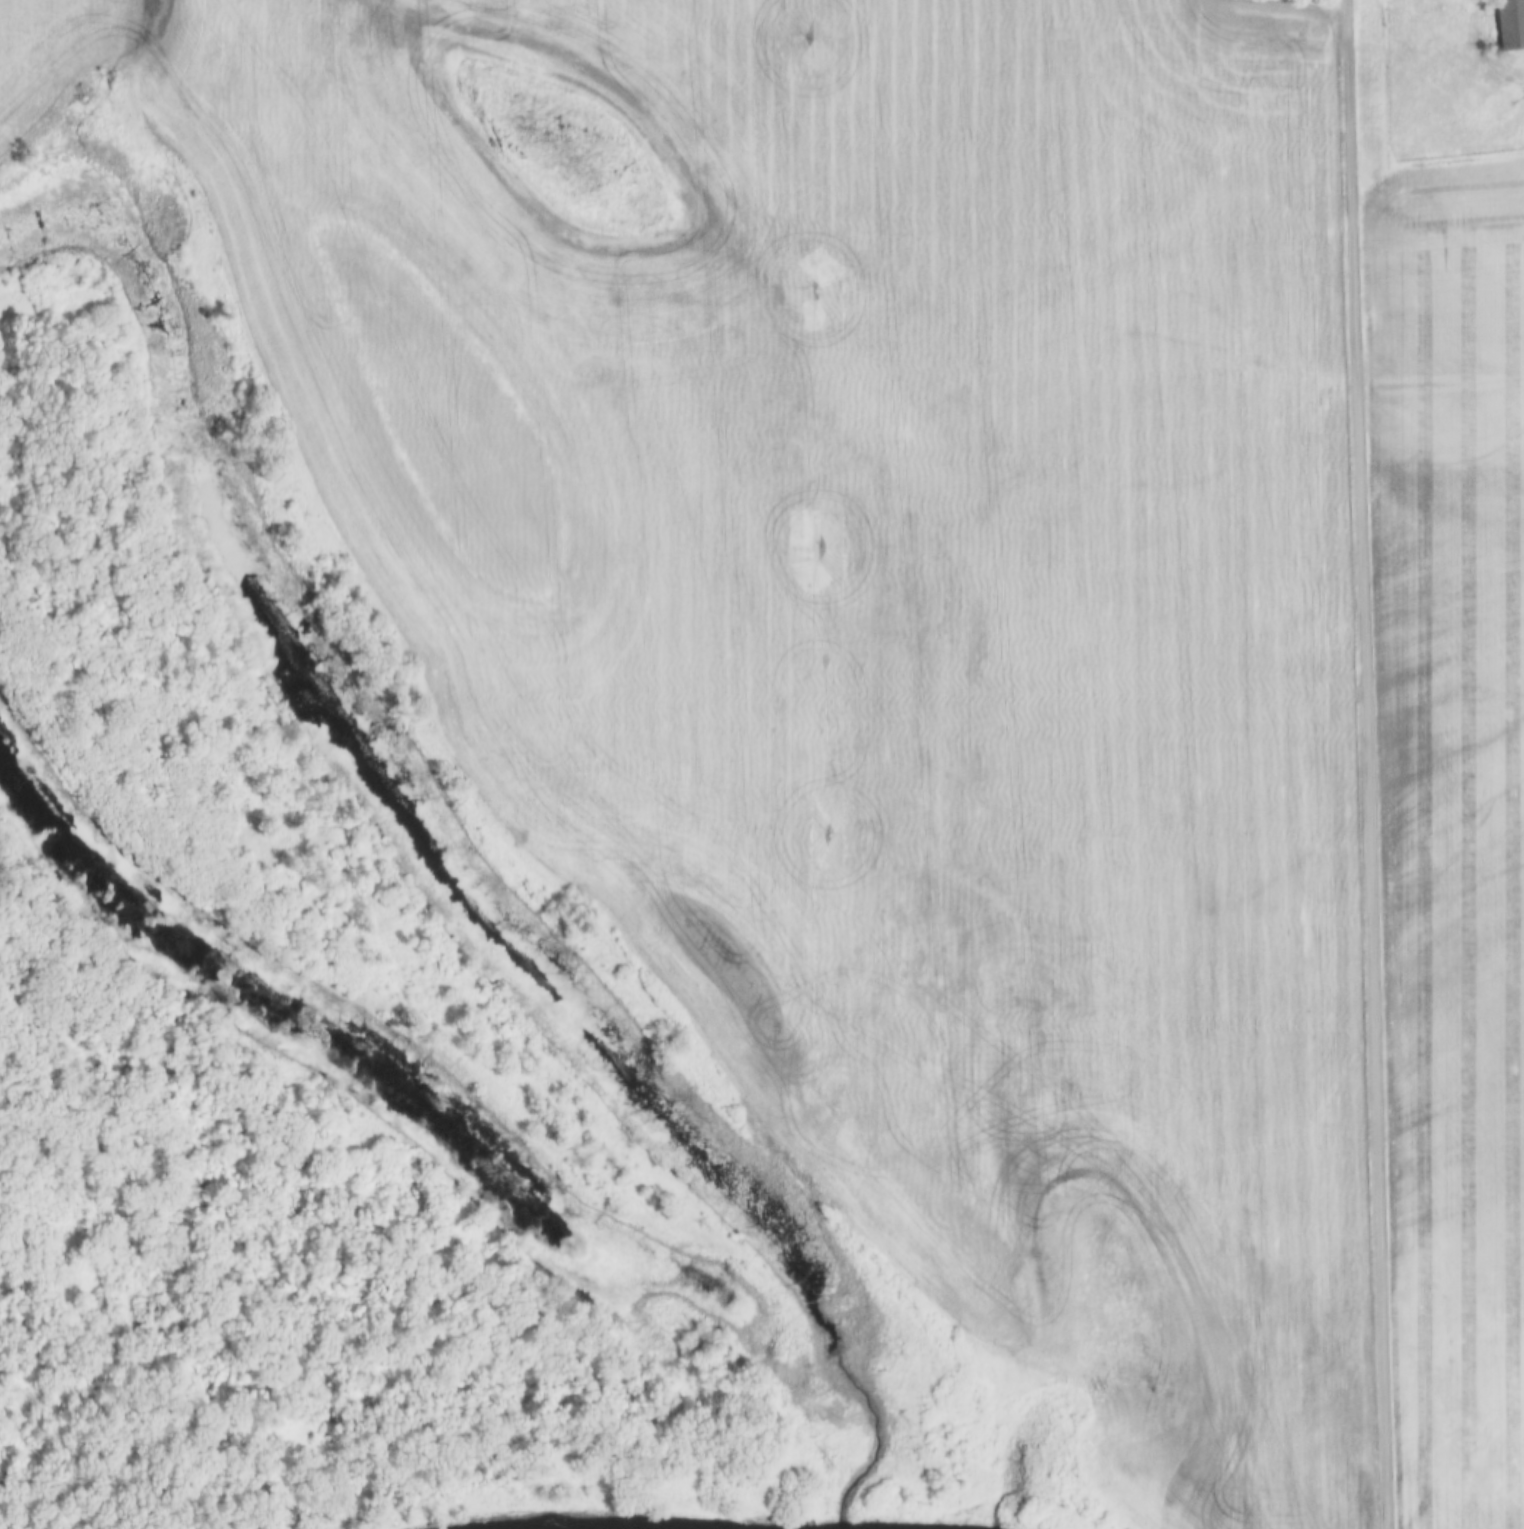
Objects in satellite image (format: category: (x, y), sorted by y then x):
building: (1506, 24)
building: (822, 542)
road: (1371, 764)

